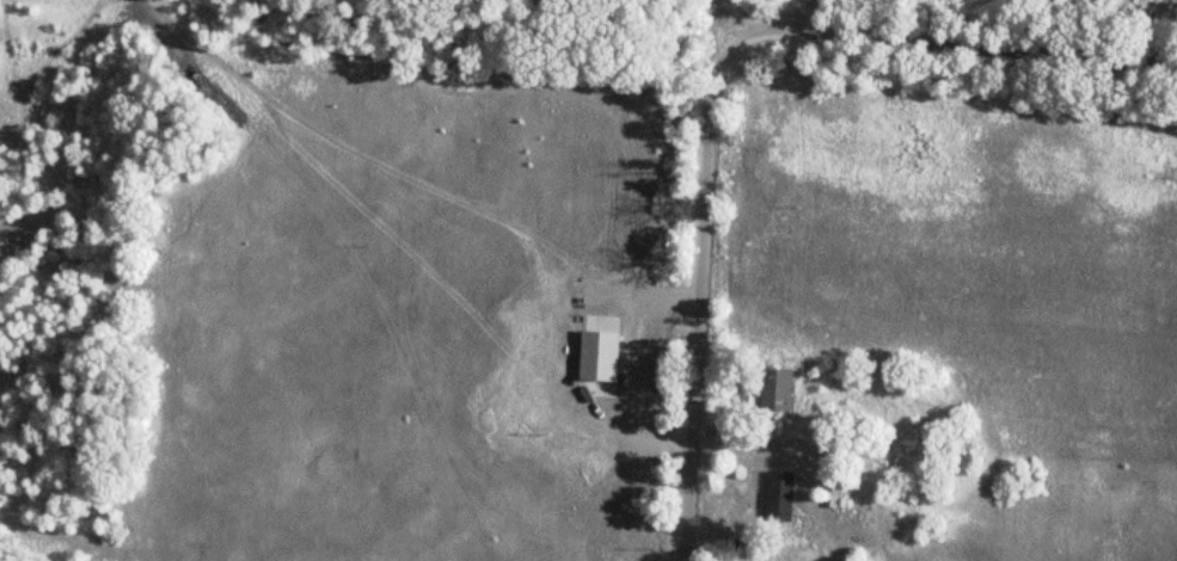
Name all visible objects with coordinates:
road: (949, 42)
road: (709, 280)
building: (776, 389)
building: (778, 497)

